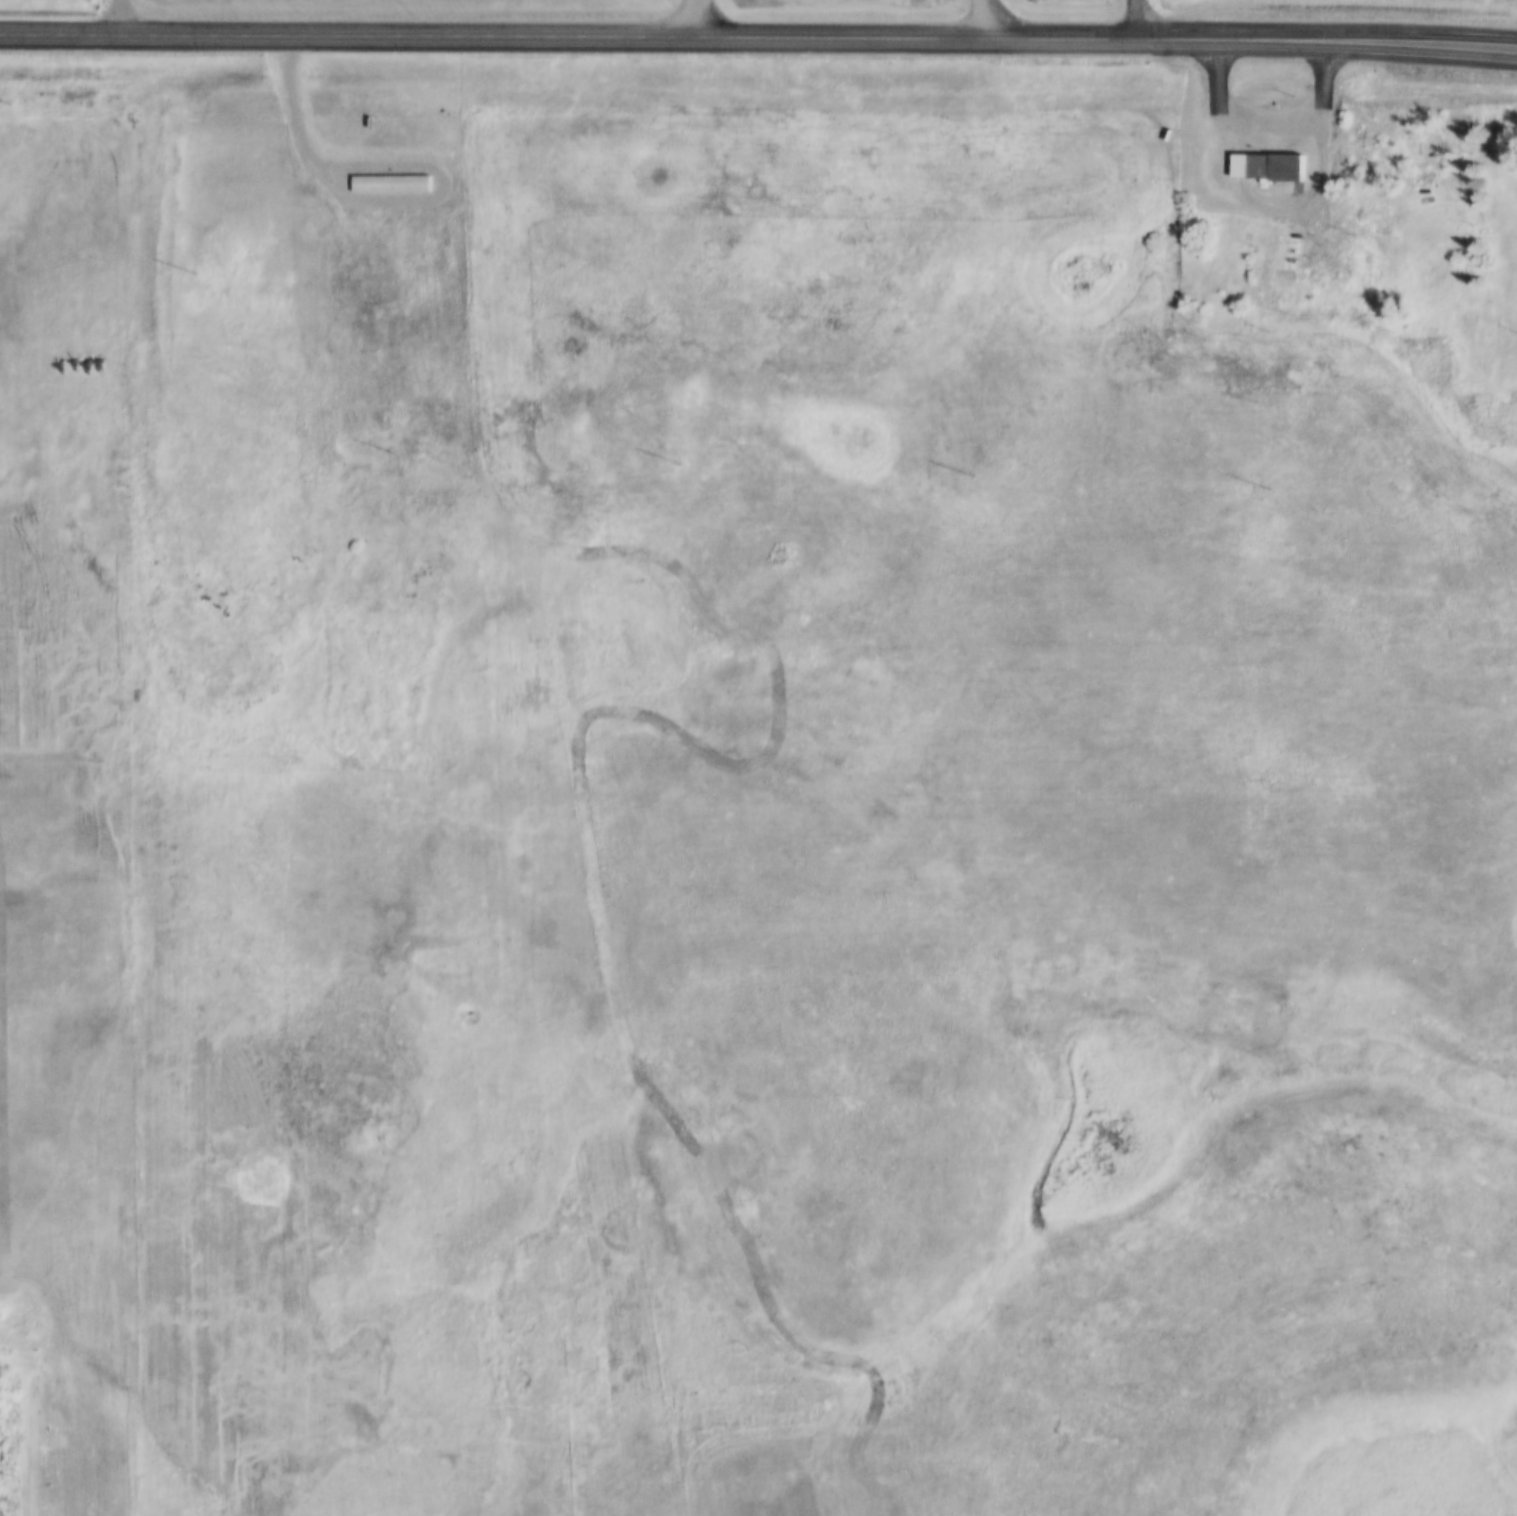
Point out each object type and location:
road: (126, 15)
road: (698, 18)
road: (982, 18)
road: (1136, 18)
road: (758, 36)
road: (1275, 112)
building: (1363, 147)
building: (1421, 152)
building: (1262, 156)
building: (1267, 169)
building: (1364, 268)

